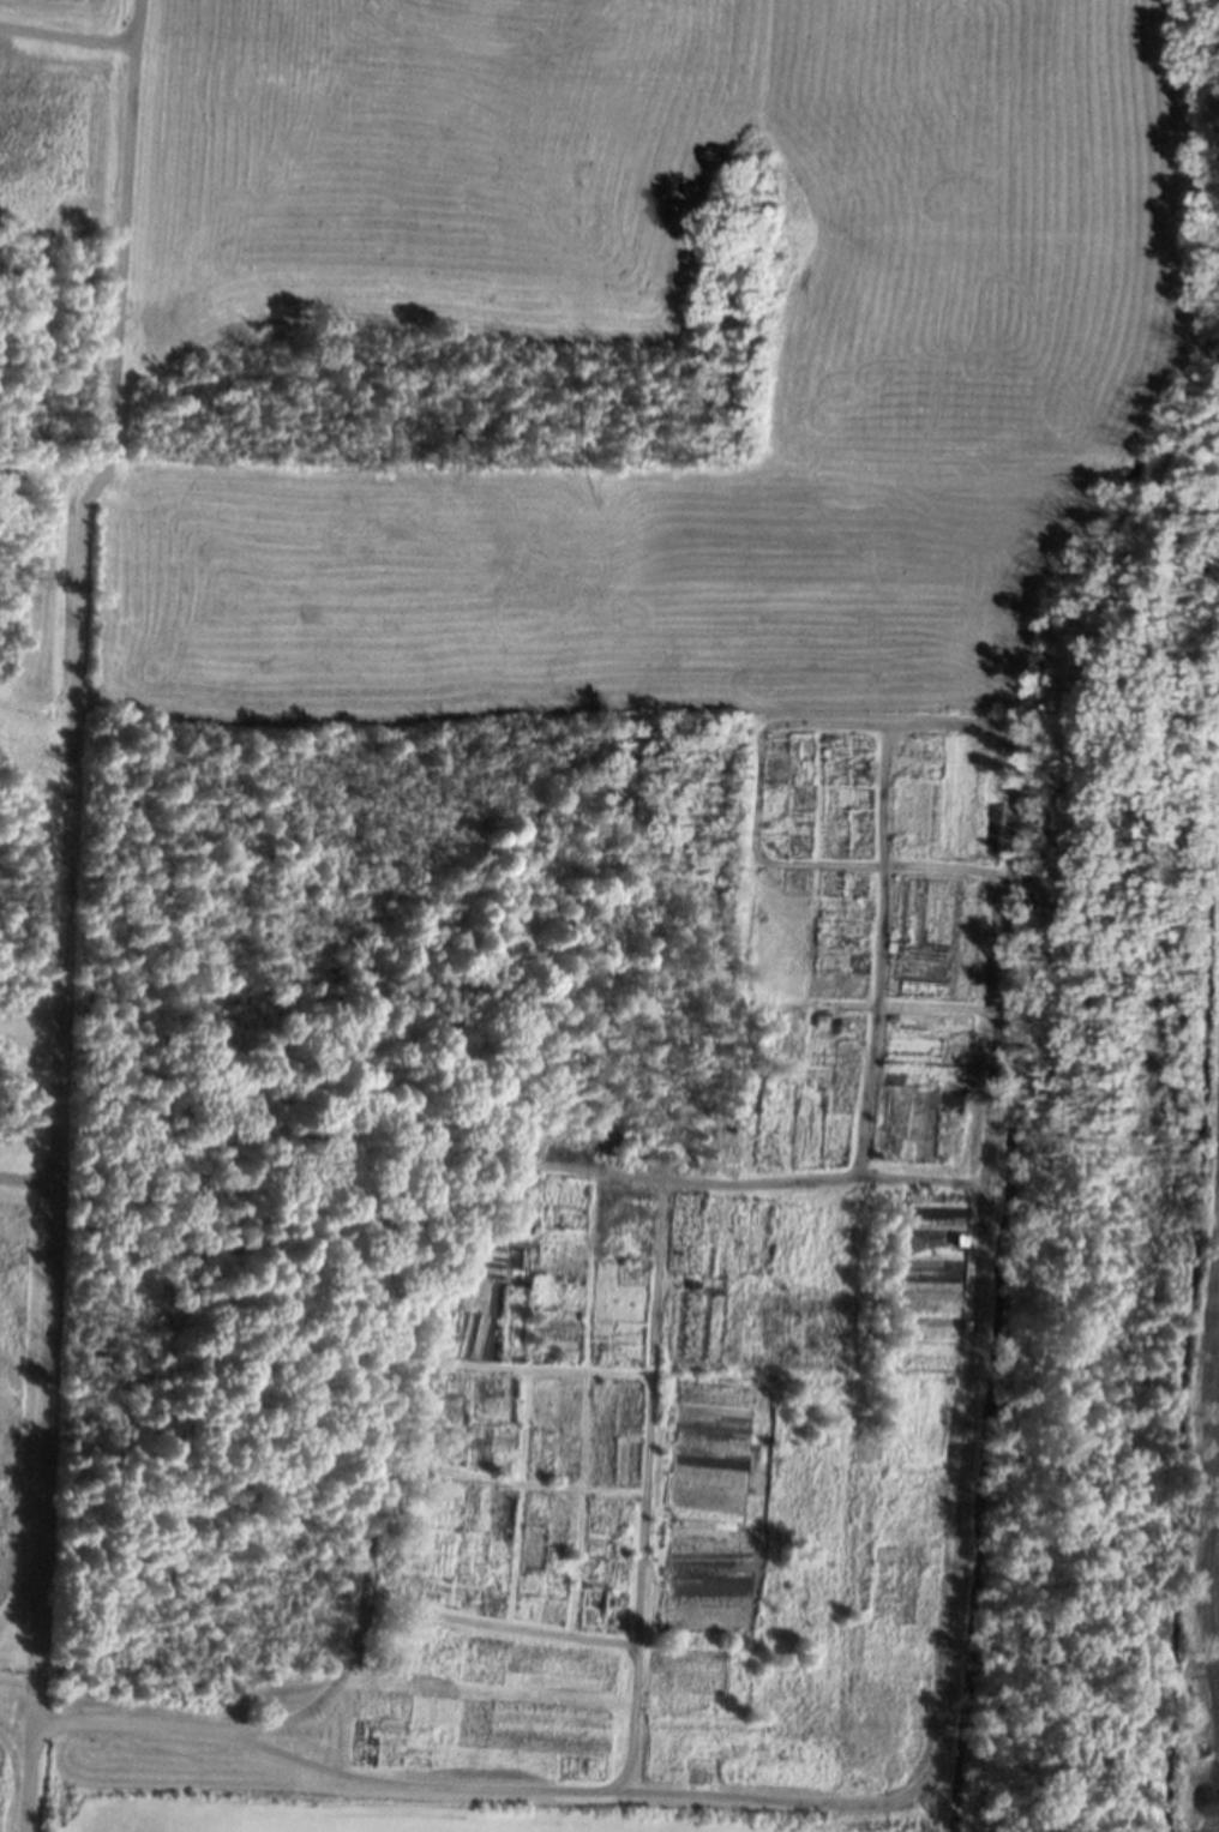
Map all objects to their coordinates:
road: (68, 38)
road: (1009, 806)
road: (62, 912)
road: (918, 1177)
road: (25, 1181)
road: (1211, 1477)
road: (645, 1485)
road: (496, 1624)

